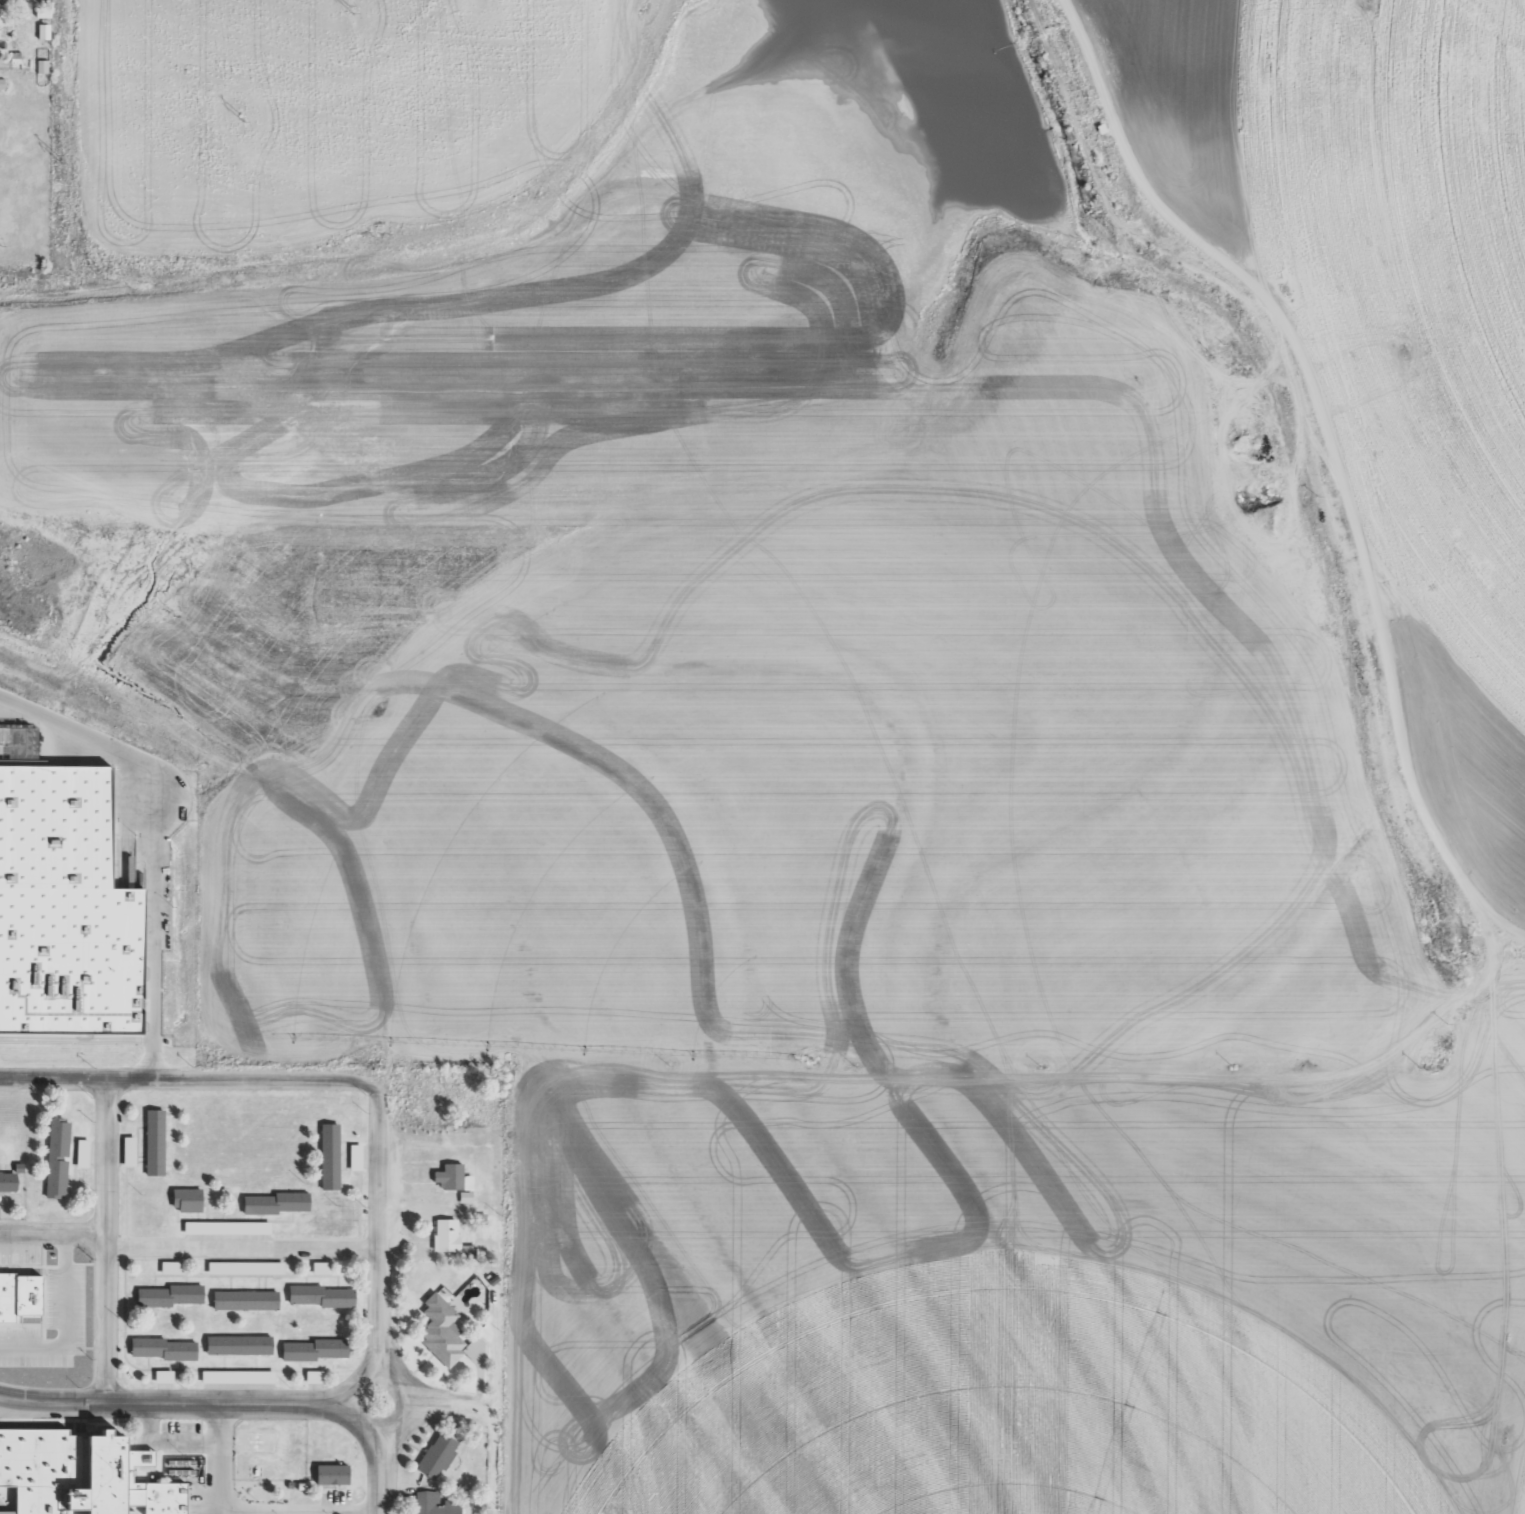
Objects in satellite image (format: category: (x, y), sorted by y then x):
power tower: (351, 9)
building: (42, 66)
building: (1, 84)
power tower: (240, 120)
power tower: (60, 160)
road: (151, 846)
building: (60, 918)
road: (188, 1078)
building: (156, 1142)
building: (127, 1151)
building: (81, 1153)
building: (330, 1157)
building: (354, 1157)
building: (58, 1158)
building: (452, 1178)
building: (9, 1182)
building: (464, 1197)
building: (188, 1200)
building: (277, 1204)
building: (225, 1227)
road: (377, 1232)
road: (52, 1234)
building: (444, 1234)
road: (104, 1240)
road: (241, 1248)
building: (168, 1267)
building: (244, 1267)
building: (320, 1267)
building: (171, 1296)
building: (323, 1297)
building: (246, 1300)
building: (16, 1304)
building: (443, 1332)
building: (240, 1345)
building: (164, 1349)
building: (315, 1350)
building: (162, 1376)
building: (238, 1377)
building: (313, 1377)
road: (177, 1403)
road: (355, 1403)
road: (438, 1405)
helipad: (251, 1444)
building: (436, 1456)
road: (492, 1456)
road: (380, 1470)
building: (328, 1479)
building: (75, 1481)
building: (433, 1504)

